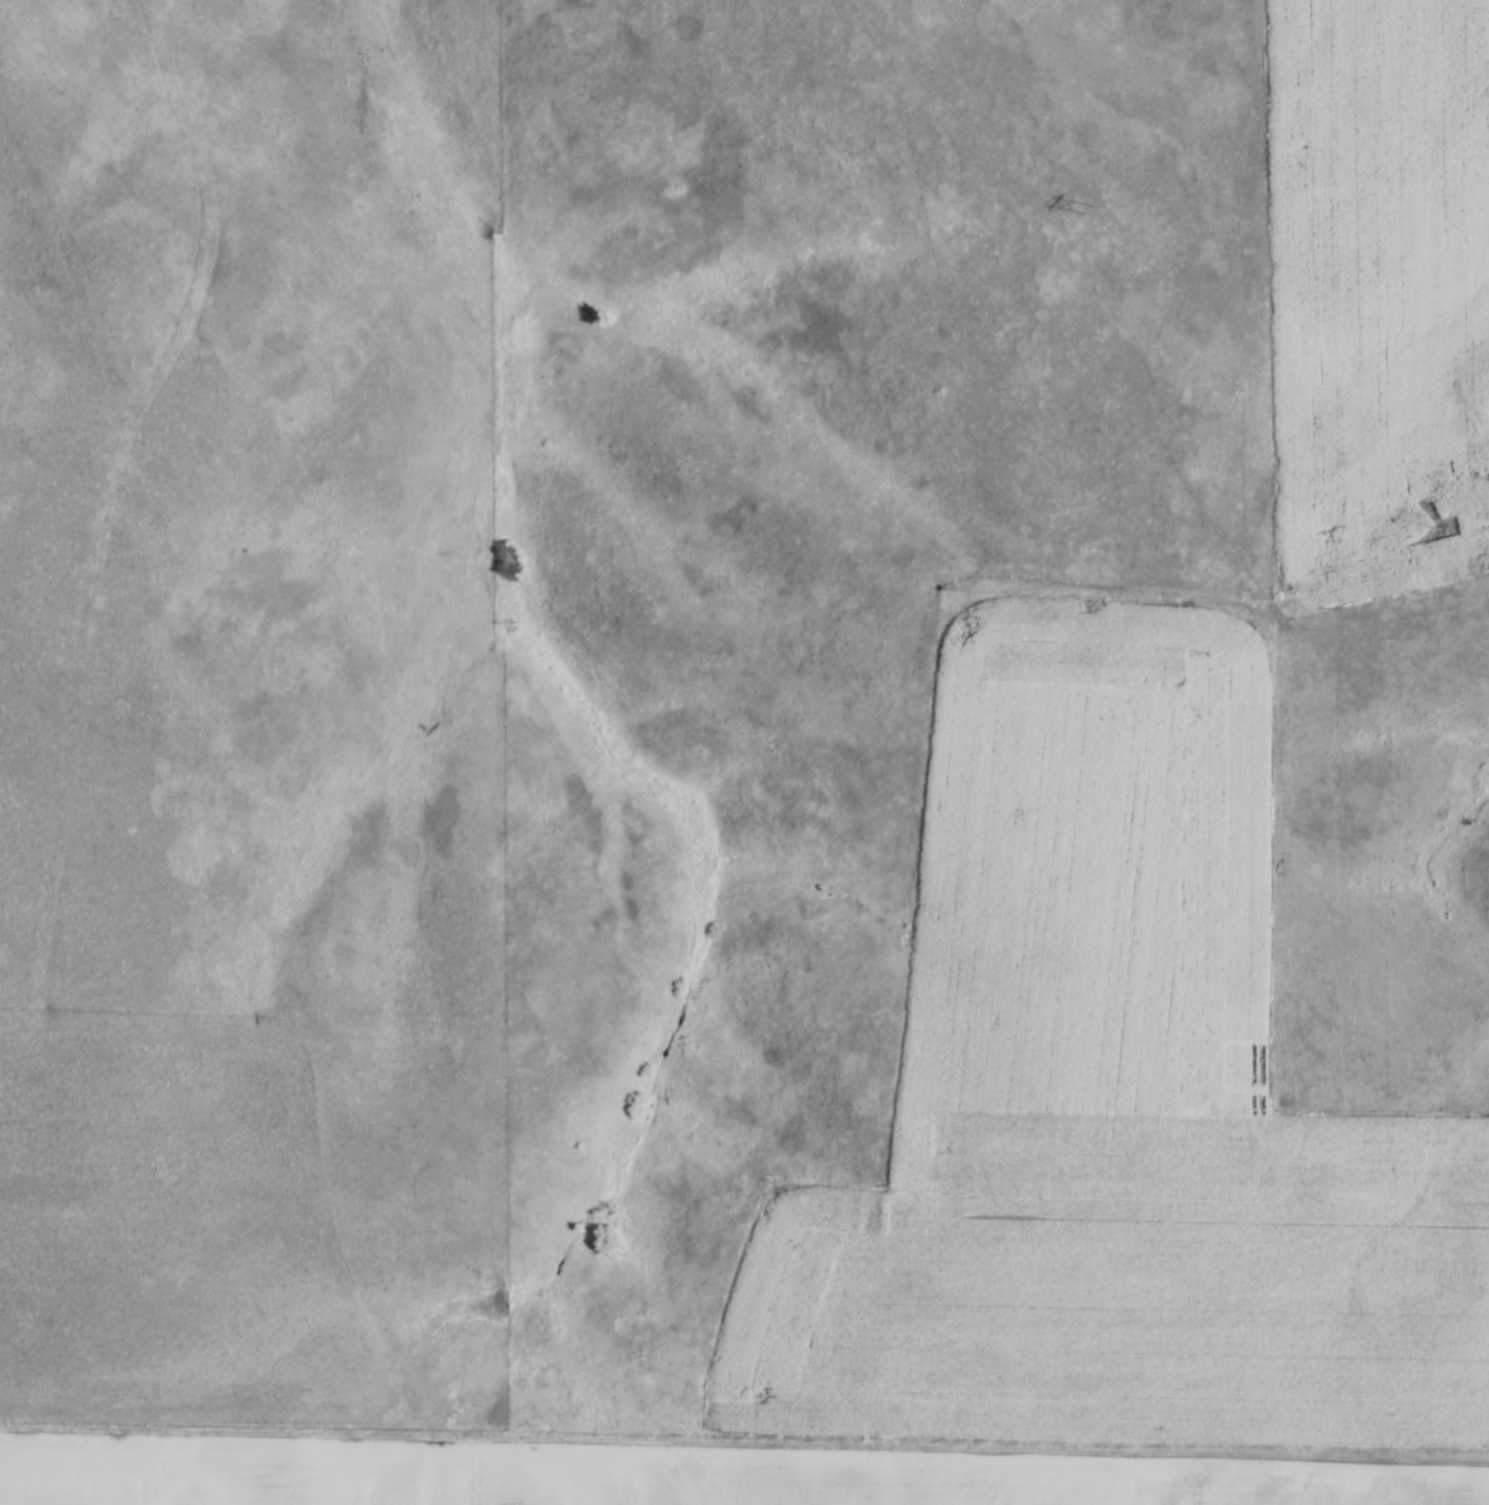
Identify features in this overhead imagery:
power tower: (1096, 215)
power tower: (1441, 529)

